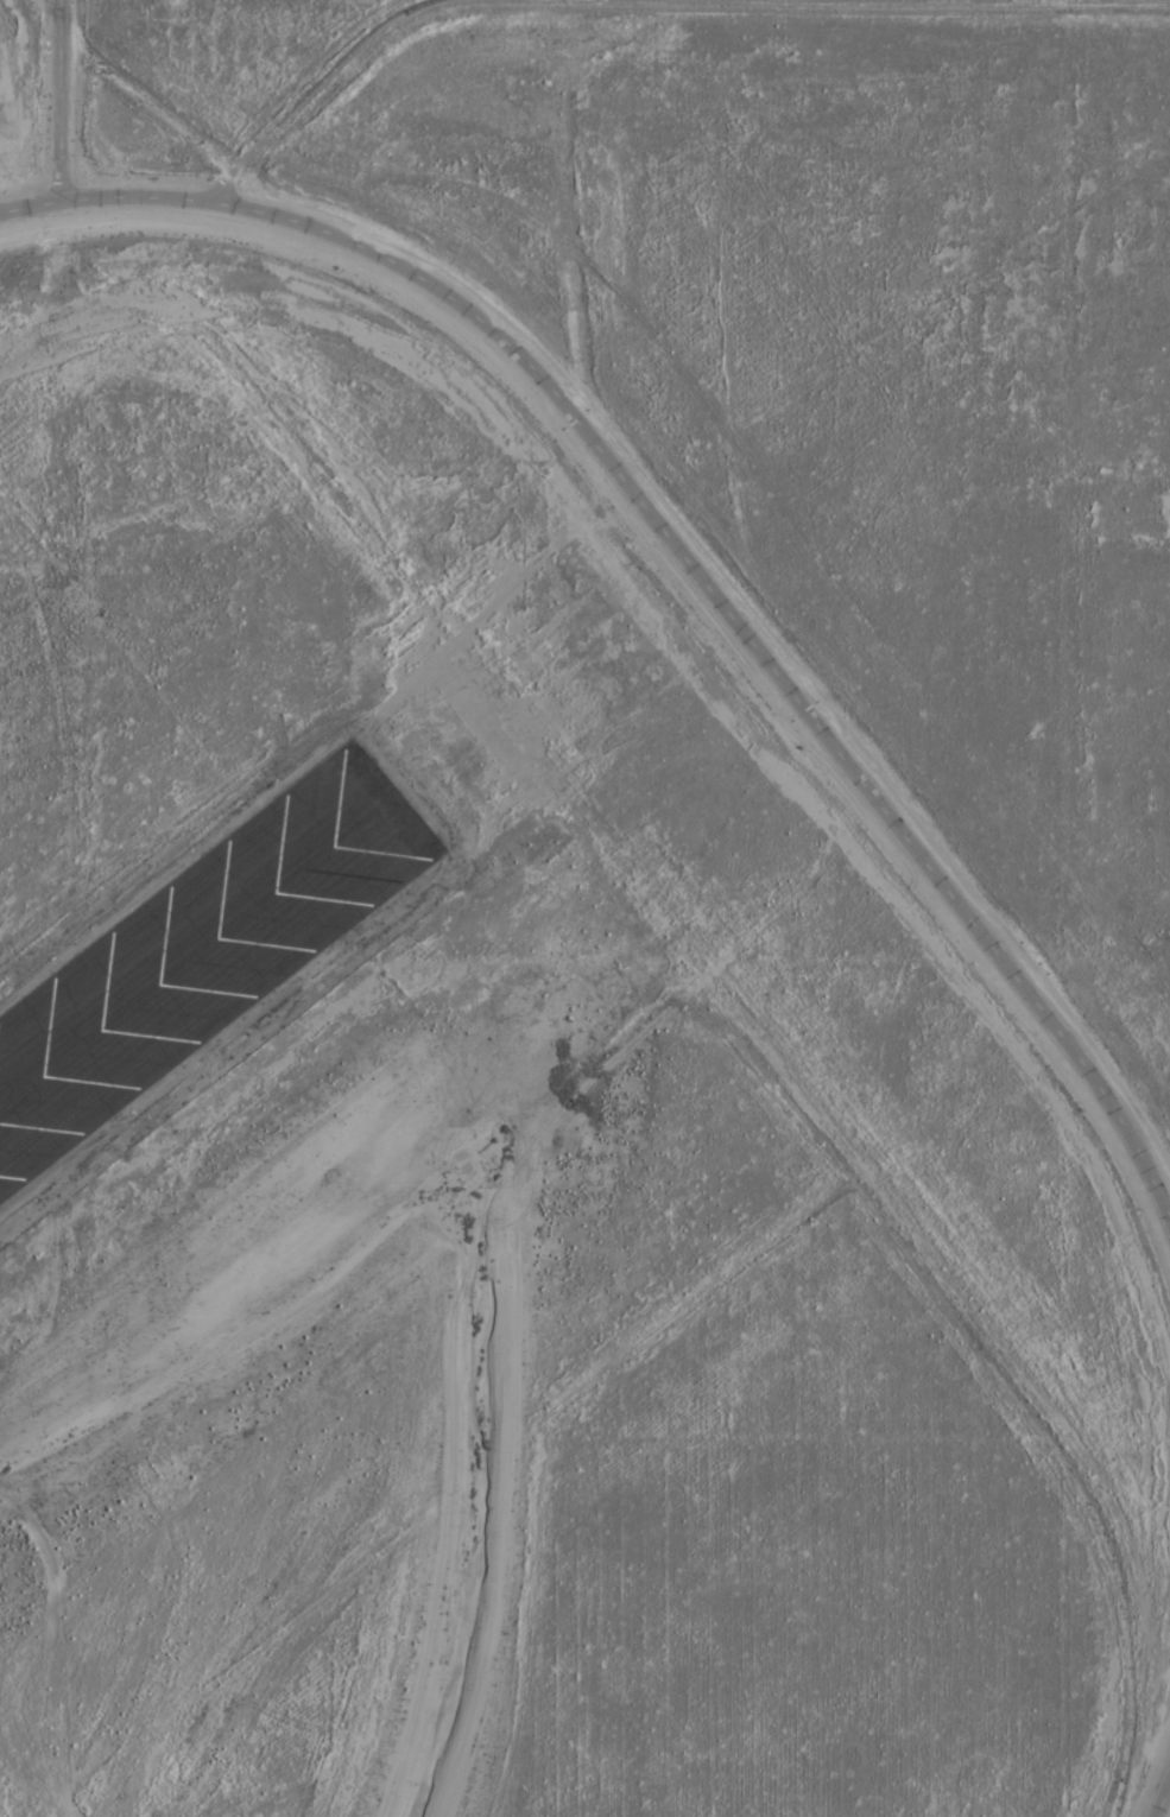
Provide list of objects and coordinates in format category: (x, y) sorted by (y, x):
road: (683, 556)
road: (1163, 1802)

